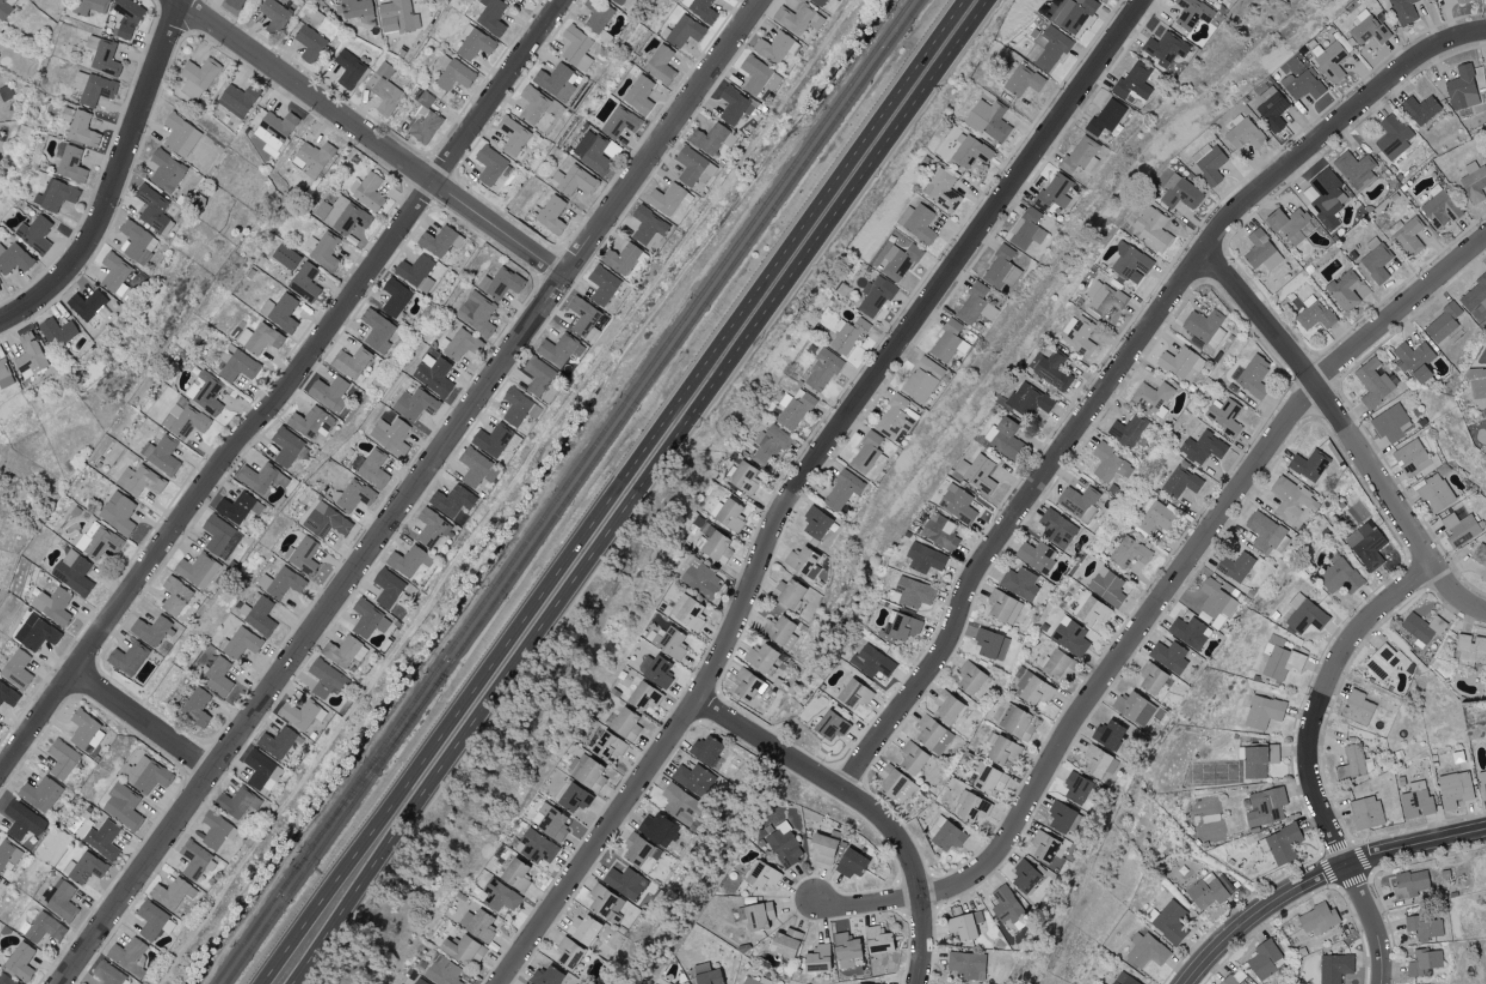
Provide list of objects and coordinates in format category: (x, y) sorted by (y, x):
building: (509, 0)
building: (837, 0)
building: (1461, 1)
building: (619, 2)
building: (817, 2)
building: (233, 3)
building: (89, 6)
building: (699, 9)
building: (4, 10)
building: (356, 10)
building: (1403, 11)
building: (1192, 13)
building: (274, 16)
building: (491, 16)
building: (596, 16)
building: (1075, 16)
building: (127, 17)
building: (397, 17)
building: (797, 19)
building: (1366, 28)
building: (684, 31)
building: (309, 43)
building: (474, 43)
building: (577, 48)
building: (774, 48)
building: (1048, 48)
building: (1164, 48)
building: (102, 56)
building: (1330, 61)
building: (660, 65)
building: (349, 69)
building: (454, 76)
building: (198, 77)
building: (758, 77)
building: (1023, 80)
building: (557, 82)
building: (1133, 82)
building: (1302, 84)
building: (92, 88)
building: (1461, 88)
building: (385, 89)
building: (5, 93)
building: (638, 95)
building: (237, 99)
building: (533, 105)
building: (732, 105)
building: (1271, 109)
building: (1420, 109)
building: (1104, 117)
building: (988, 119)
building: (424, 120)
building: (620, 122)
building: (278, 124)
building: (82, 130)
building: (1244, 134)
building: (180, 136)
building: (1393, 136)
road: (374, 138)
building: (513, 138)
building: (708, 139)
building: (969, 151)
building: (595, 152)
building: (1080, 155)
building: (312, 158)
building: (1208, 163)
building: (71, 165)
building: (491, 166)
building: (693, 167)
building: (1355, 169)
building: (166, 170)
road: (114, 176)
building: (576, 181)
building: (1473, 181)
building: (942, 190)
building: (1053, 191)
building: (369, 192)
building: (1180, 192)
building: (1309, 193)
building: (55, 195)
building: (1326, 197)
building: (667, 200)
building: (153, 209)
building: (1439, 209)
building: (342, 215)
building: (550, 215)
building: (917, 222)
building: (1287, 223)
building: (647, 226)
building: (1027, 228)
building: (1151, 228)
building: (35, 233)
building: (1407, 235)
building: (439, 241)
building: (136, 242)
road: (789, 243)
road: (811, 246)
building: (322, 250)
building: (1261, 251)
building: (14, 258)
building: (620, 258)
building: (899, 261)
building: (1130, 263)
building: (1376, 263)
building: (1002, 267)
building: (114, 271)
building: (416, 272)
building: (304, 281)
building: (500, 283)
building: (602, 284)
building: (1347, 289)
building: (874, 296)
building: (395, 297)
building: (1104, 298)
building: (1476, 299)
building: (975, 304)
building: (91, 308)
building: (280, 311)
building: (476, 313)
building: (1314, 314)
building: (584, 318)
building: (1441, 323)
building: (1205, 326)
building: (378, 329)
building: (58, 331)
building: (847, 334)
building: (1079, 335)
building: (259, 338)
building: (948, 341)
building: (460, 344)
building: (556, 349)
building: (30, 355)
building: (1414, 360)
building: (1177, 361)
building: (351, 362)
building: (237, 364)
road: (1119, 368)
building: (1051, 369)
building: (822, 370)
building: (5, 374)
building: (433, 374)
building: (1254, 374)
building: (540, 379)
building: (922, 379)
building: (1372, 382)
building: (1476, 382)
road: (286, 390)
building: (209, 393)
building: (329, 393)
building: (1152, 397)
building: (1029, 399)
building: (414, 404)
building: (518, 406)
building: (793, 409)
building: (1224, 415)
building: (896, 417)
building: (184, 420)
building: (312, 422)
building: (1391, 423)
building: (1485, 425)
building: (1126, 430)
road: (1347, 433)
building: (390, 435)
building: (1003, 437)
building: (491, 439)
building: (769, 444)
building: (286, 446)
building: (1202, 447)
building: (145, 449)
building: (866, 451)
building: (163, 456)
building: (1414, 459)
building: (1108, 463)
building: (1308, 464)
building: (476, 467)
building: (373, 468)
building: (976, 473)
building: (256, 477)
building: (743, 477)
road: (798, 479)
building: (140, 480)
building: (1181, 482)
building: (842, 489)
road: (409, 490)
railway: (562, 491)
railway: (572, 491)
building: (1434, 492)
building: (352, 495)
building: (1289, 498)
building: (451, 500)
building: (957, 504)
building: (238, 507)
building: (118, 512)
building: (728, 514)
building: (1154, 517)
building: (325, 520)
building: (815, 522)
building: (431, 528)
building: (1056, 528)
building: (1459, 528)
building: (940, 531)
building: (1264, 531)
building: (220, 536)
building: (102, 541)
building: (1365, 545)
building: (716, 547)
building: (1130, 552)
building: (303, 554)
building: (1036, 556)
building: (1480, 557)
building: (925, 558)
building: (408, 561)
building: (801, 561)
building: (1235, 566)
building: (197, 570)
building: (73, 572)
building: (1338, 574)
building: (700, 579)
building: (280, 582)
building: (1019, 583)
building: (1106, 586)
building: (387, 587)
building: (787, 593)
building: (912, 593)
building: (175, 595)
road: (1158, 602)
building: (53, 604)
building: (1215, 604)
building: (1002, 607)
building: (1091, 611)
building: (687, 612)
building: (258, 614)
building: (1304, 614)
building: (368, 618)
building: (1421, 626)
building: (901, 627)
building: (150, 629)
building: (777, 629)
building: (1189, 632)
building: (35, 633)
building: (1069, 636)
building: (239, 643)
building: (669, 643)
building: (988, 645)
building: (1470, 648)
building: (344, 651)
building: (1168, 656)
building: (759, 657)
building: (128, 658)
building: (1280, 659)
building: (2, 661)
building: (872, 661)
building: (1057, 664)
building: (17, 669)
building: (654, 670)
building: (217, 676)
building: (968, 678)
building: (1150, 678)
building: (326, 679)
building: (745, 683)
building: (1033, 689)
building: (853, 693)
building: (8, 695)
building: (643, 696)
building: (196, 706)
building: (946, 707)
building: (1356, 707)
building: (1132, 708)
building: (1262, 711)
building: (302, 713)
road: (143, 720)
building: (1015, 722)
building: (0, 724)
building: (625, 725)
building: (830, 725)
building: (85, 729)
building: (1106, 734)
road: (443, 735)
building: (932, 735)
road: (462, 739)
building: (276, 742)
building: (607, 745)
building: (704, 749)
building: (1002, 750)
building: (911, 757)
building: (62, 759)
road: (1309, 759)
building: (1258, 760)
building: (1094, 761)
building: (1354, 763)
building: (260, 769)
railway: (370, 770)
building: (587, 773)
building: (146, 774)
building: (692, 779)
building: (988, 779)
building: (1483, 783)
building: (894, 785)
building: (1075, 788)
building: (1454, 789)
building: (40, 793)
building: (573, 798)
building: (1416, 800)
building: (236, 802)
building: (676, 803)
building: (122, 805)
building: (1263, 806)
road: (863, 807)
building: (971, 807)
building: (1365, 812)
building: (1059, 817)
building: (24, 820)
building: (552, 824)
building: (216, 830)
building: (657, 830)
building: (947, 836)
building: (103, 839)
building: (1283, 844)
building: (1043, 846)
building: (535, 847)
building: (783, 847)
building: (821, 847)
building: (639, 852)
building: (9, 853)
building: (194, 859)
building: (850, 863)
building: (84, 868)
building: (514, 875)
building: (761, 875)
building: (1024, 876)
road: (1320, 877)
building: (0, 879)
building: (624, 882)
building: (1410, 883)
building: (1206, 891)
building: (169, 893)
building: (499, 895)
building: (62, 901)
building: (603, 902)
building: (1005, 905)
building: (757, 915)
building: (1317, 919)
building: (150, 920)
building: (1168, 921)
building: (479, 926)
building: (964, 926)
building: (1423, 927)
building: (42, 928)
building: (581, 929)
building: (876, 940)
building: (783, 943)
building: (461, 950)
building: (845, 950)
building: (1146, 950)
building: (567, 954)
building: (129, 956)
building: (815, 958)
building: (1263, 959)
building: (20, 961)
building: (1423, 962)
building: (966, 965)
building: (1334, 967)
building: (442, 972)
building: (109, 974)
building: (705, 974)
building: (1239, 975)
building: (544, 976)
building: (6, 979)
building: (1123, 979)
building: (1227, 980)
building: (748, 981)
building: (418, 982)
building: (523, 983)
building: (667, 983)

